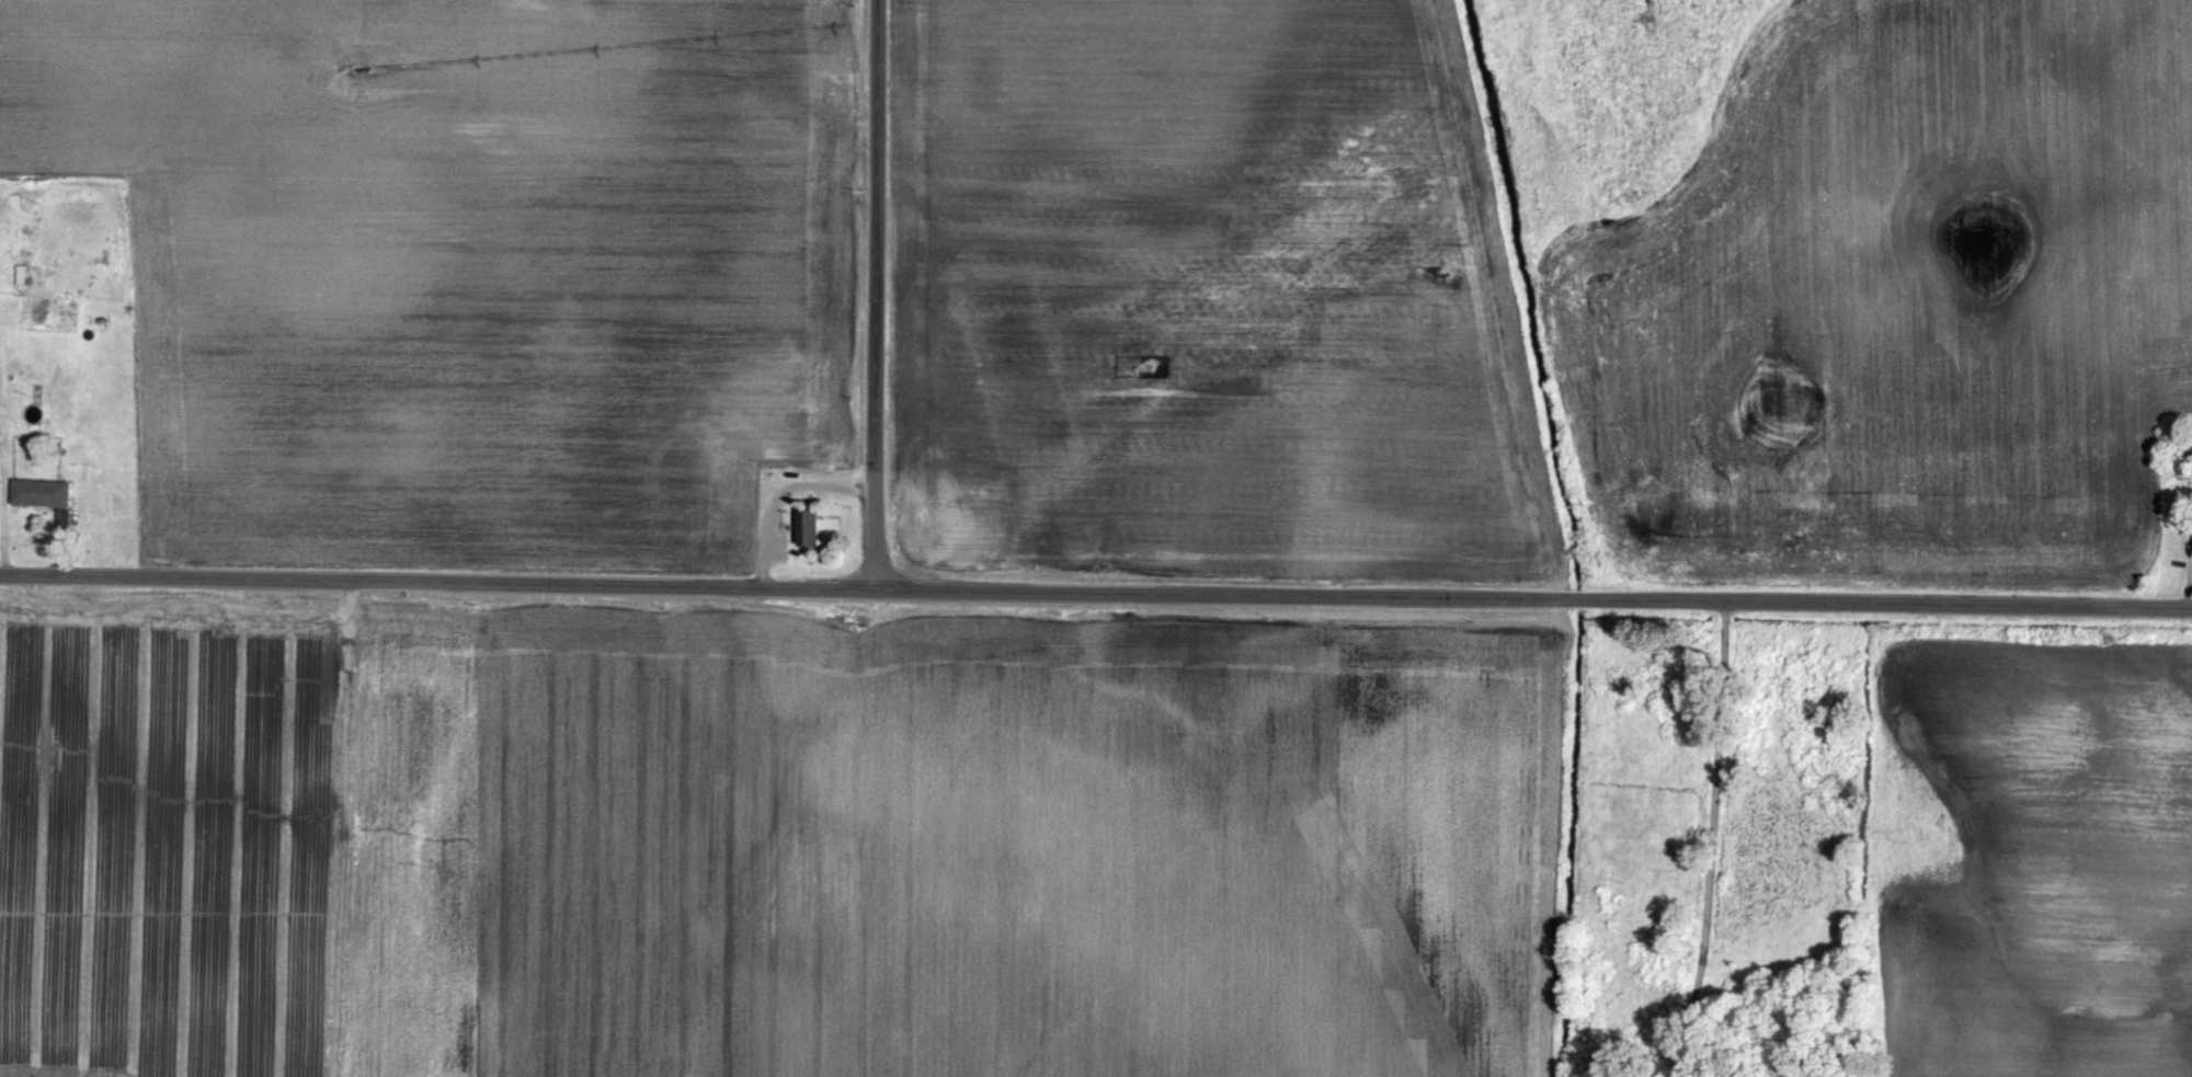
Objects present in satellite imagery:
building: (19, 274)
road: (879, 293)
building: (41, 492)
building: (811, 527)
road: (1096, 588)
road: (1709, 837)

